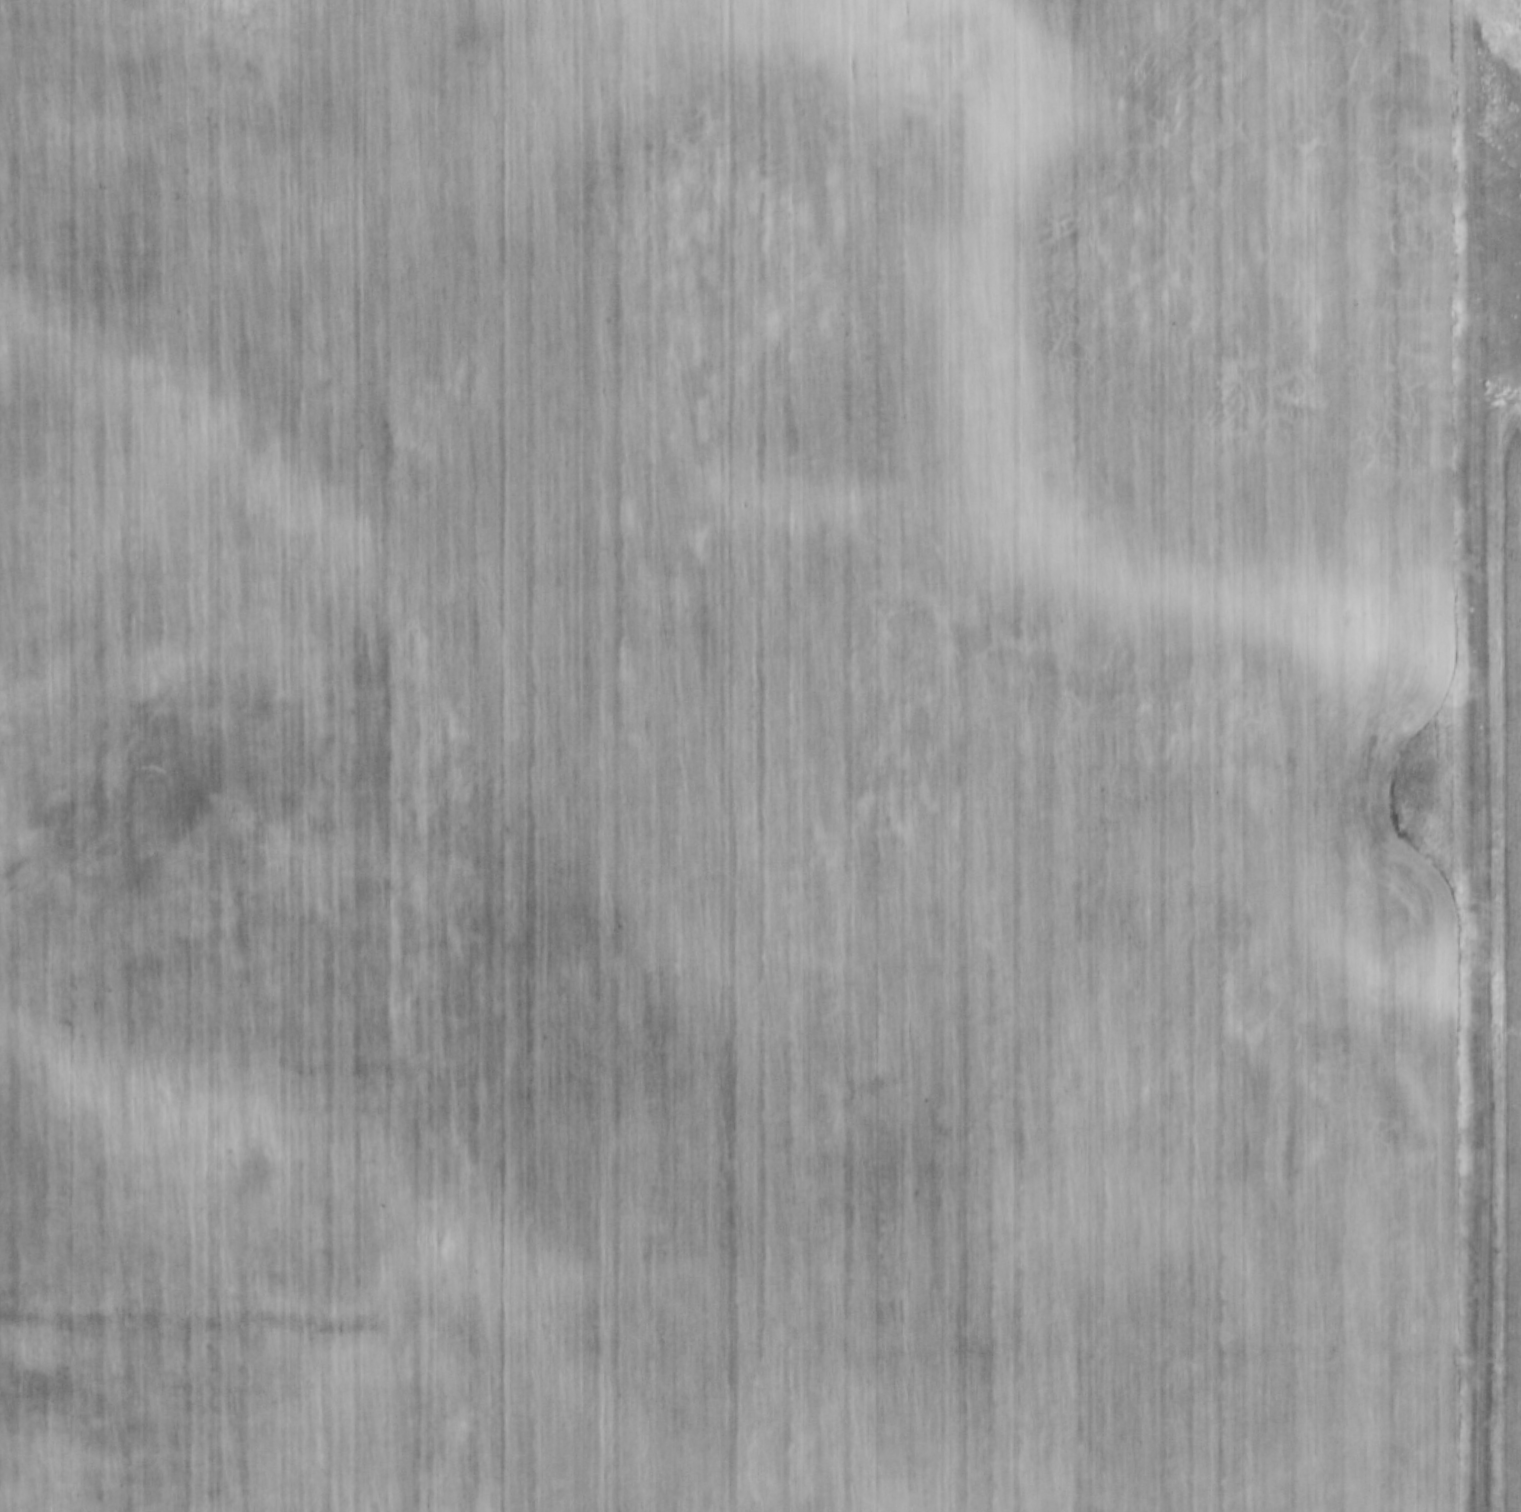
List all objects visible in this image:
road: (1481, 937)

